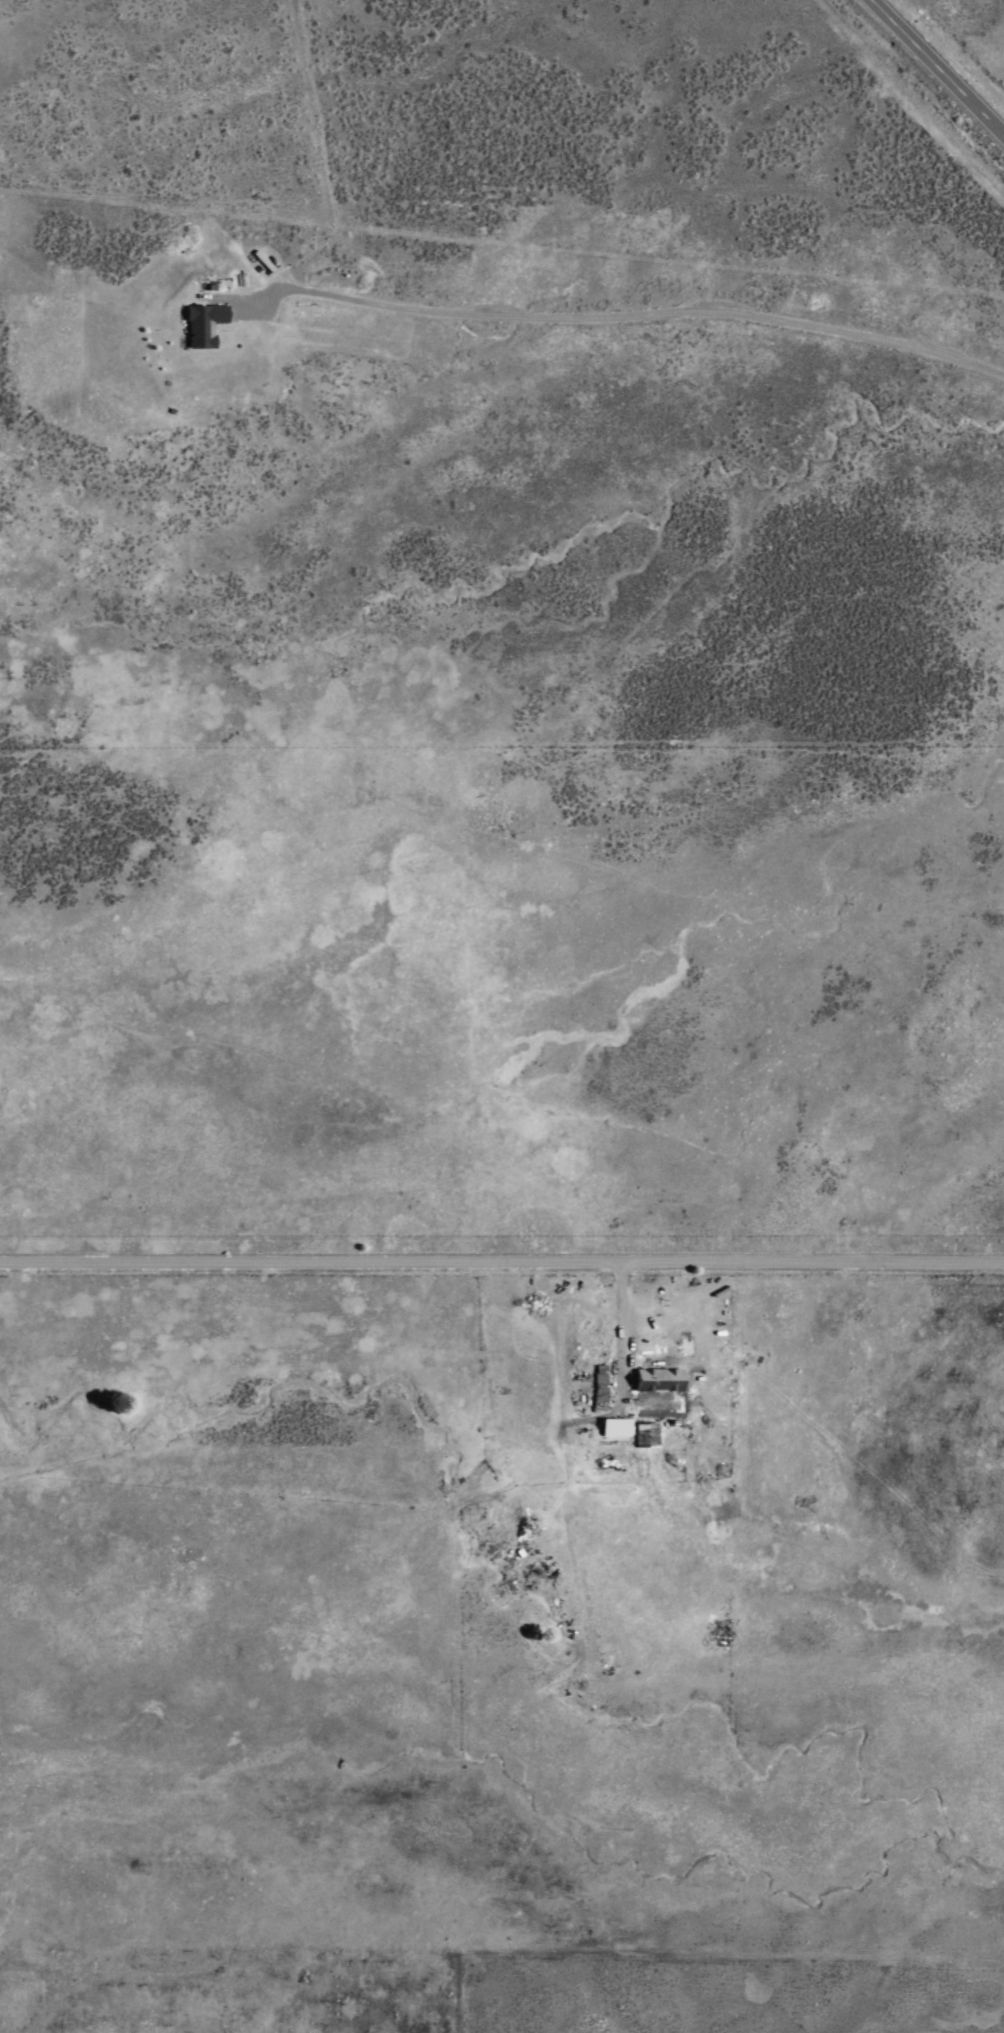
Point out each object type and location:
crop: (941, 62)
road: (920, 85)
building: (203, 324)
road: (502, 1260)
road: (617, 1330)
crop: (502, 1393)

